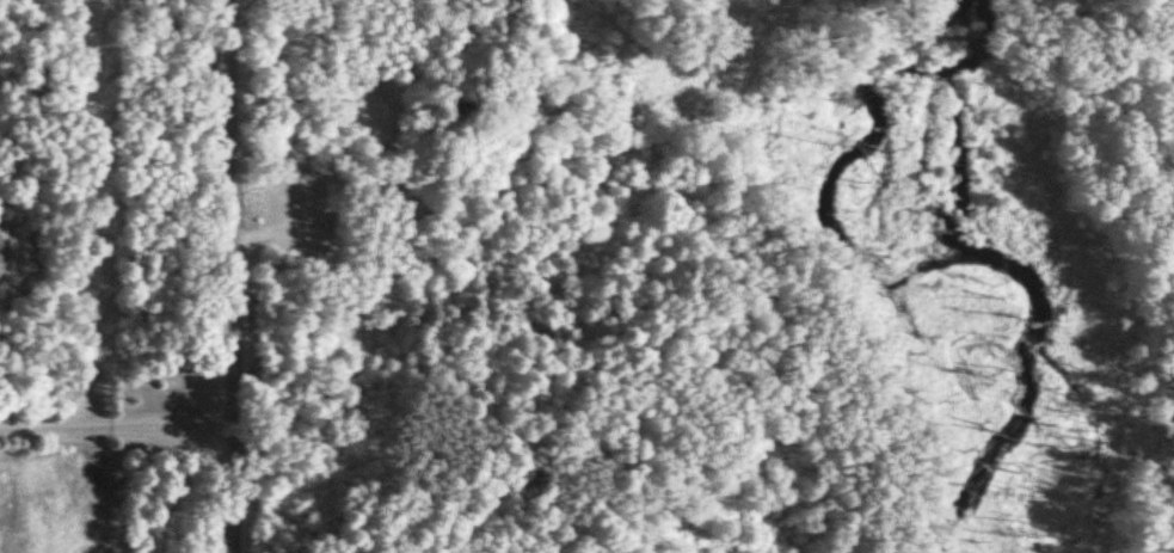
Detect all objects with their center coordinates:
road: (1078, 13)
road: (959, 35)
road: (644, 146)
parking lot: (314, 207)
parking lot: (311, 208)
road: (287, 235)
building: (6, 257)
road: (226, 276)
road: (113, 423)
building: (93, 453)
road: (1164, 546)

